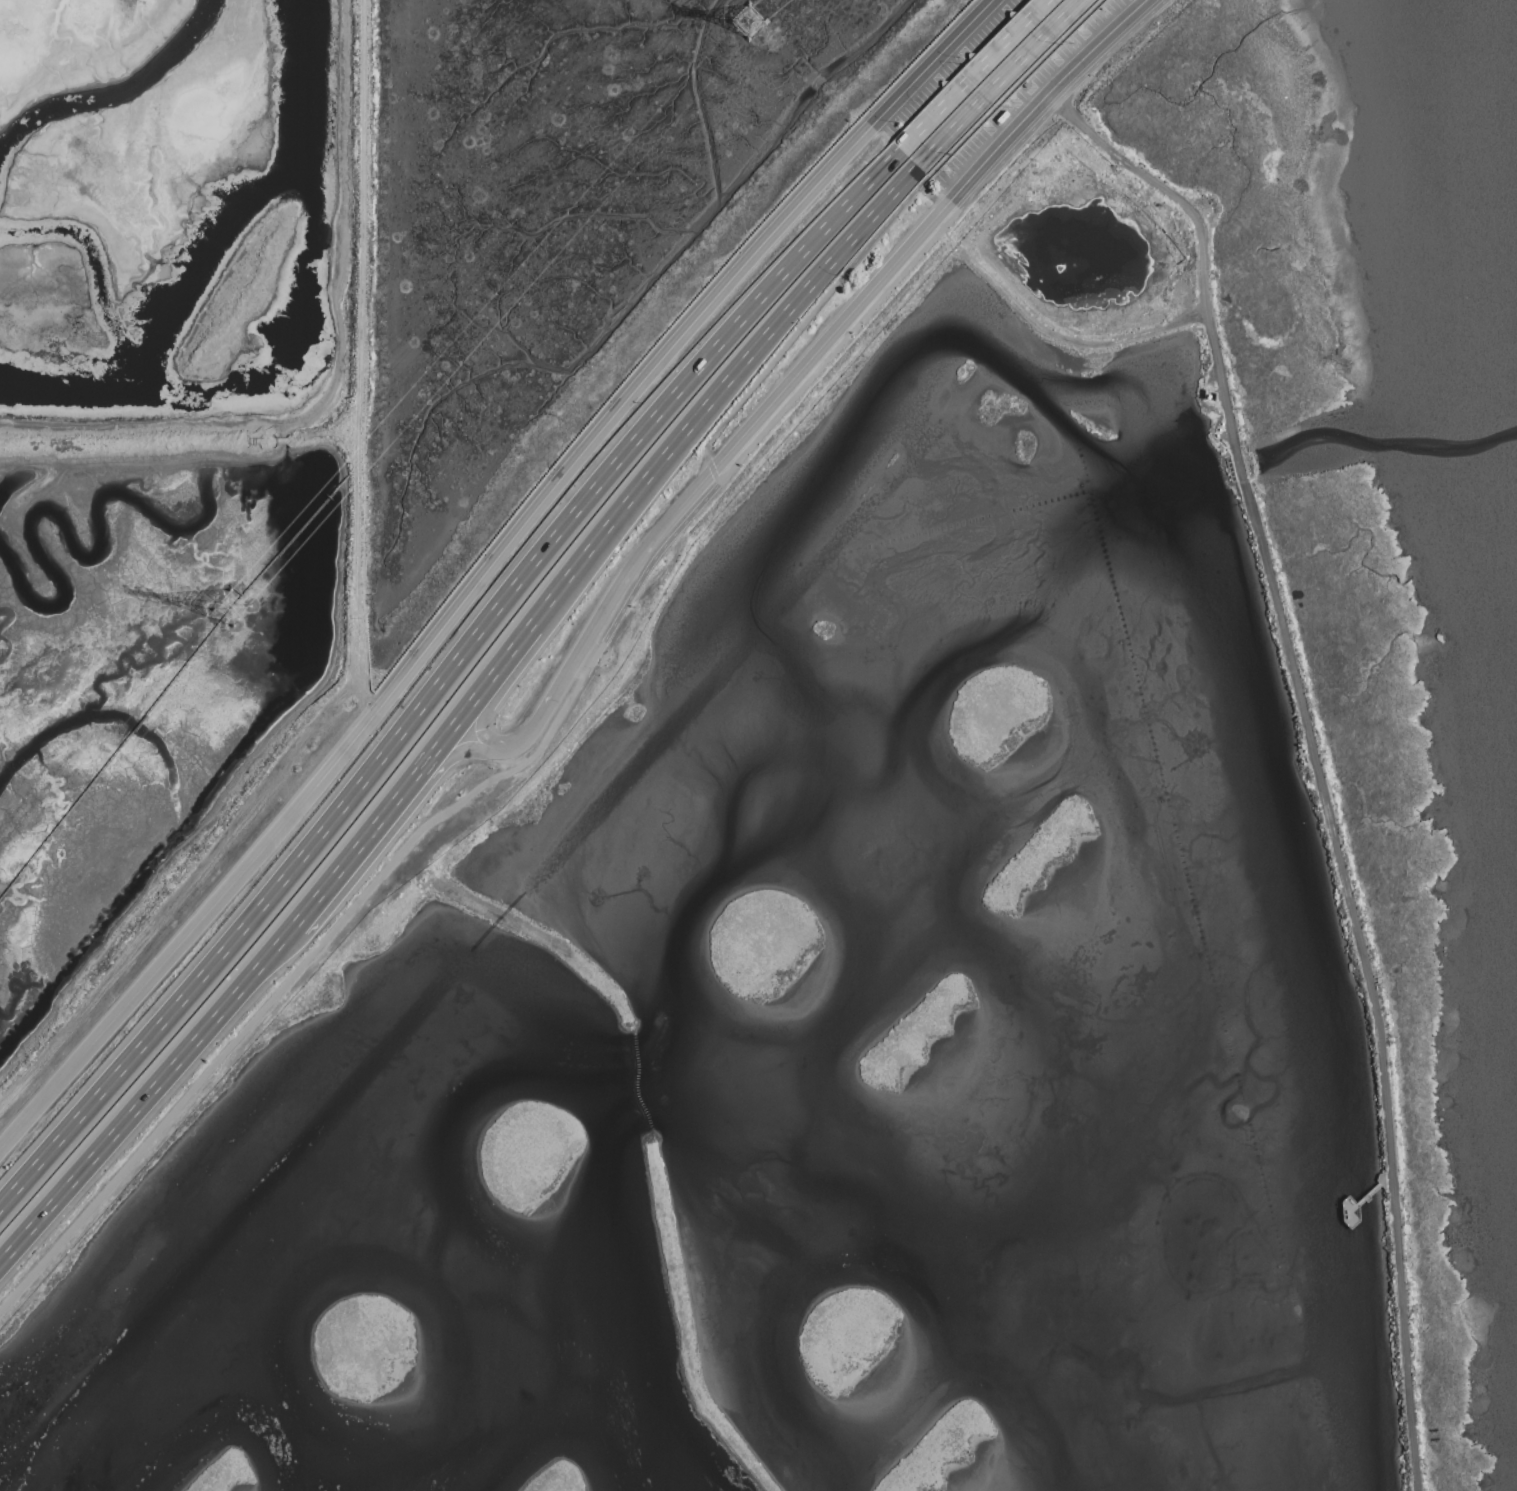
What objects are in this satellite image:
power tower: (746, 26)
street lamp: (1073, 45)
building: (1020, 46)
street lamp: (959, 59)
parking lot: (952, 66)
road: (976, 75)
road: (1002, 84)
road: (1013, 87)
parking lot: (1031, 90)
street lamp: (1010, 108)
street lamp: (896, 124)
street lamp: (947, 172)
road: (941, 206)
street lamp: (849, 278)
road: (359, 309)
road: (803, 329)
road: (811, 363)
road: (682, 444)
road: (491, 571)
power tower: (242, 612)
road: (589, 663)
road: (362, 670)
road: (448, 679)
road: (481, 742)
road: (441, 748)
road: (1311, 764)
road: (359, 850)
road: (148, 1101)
road: (1384, 1177)
road: (1370, 1193)
road: (1359, 1205)

